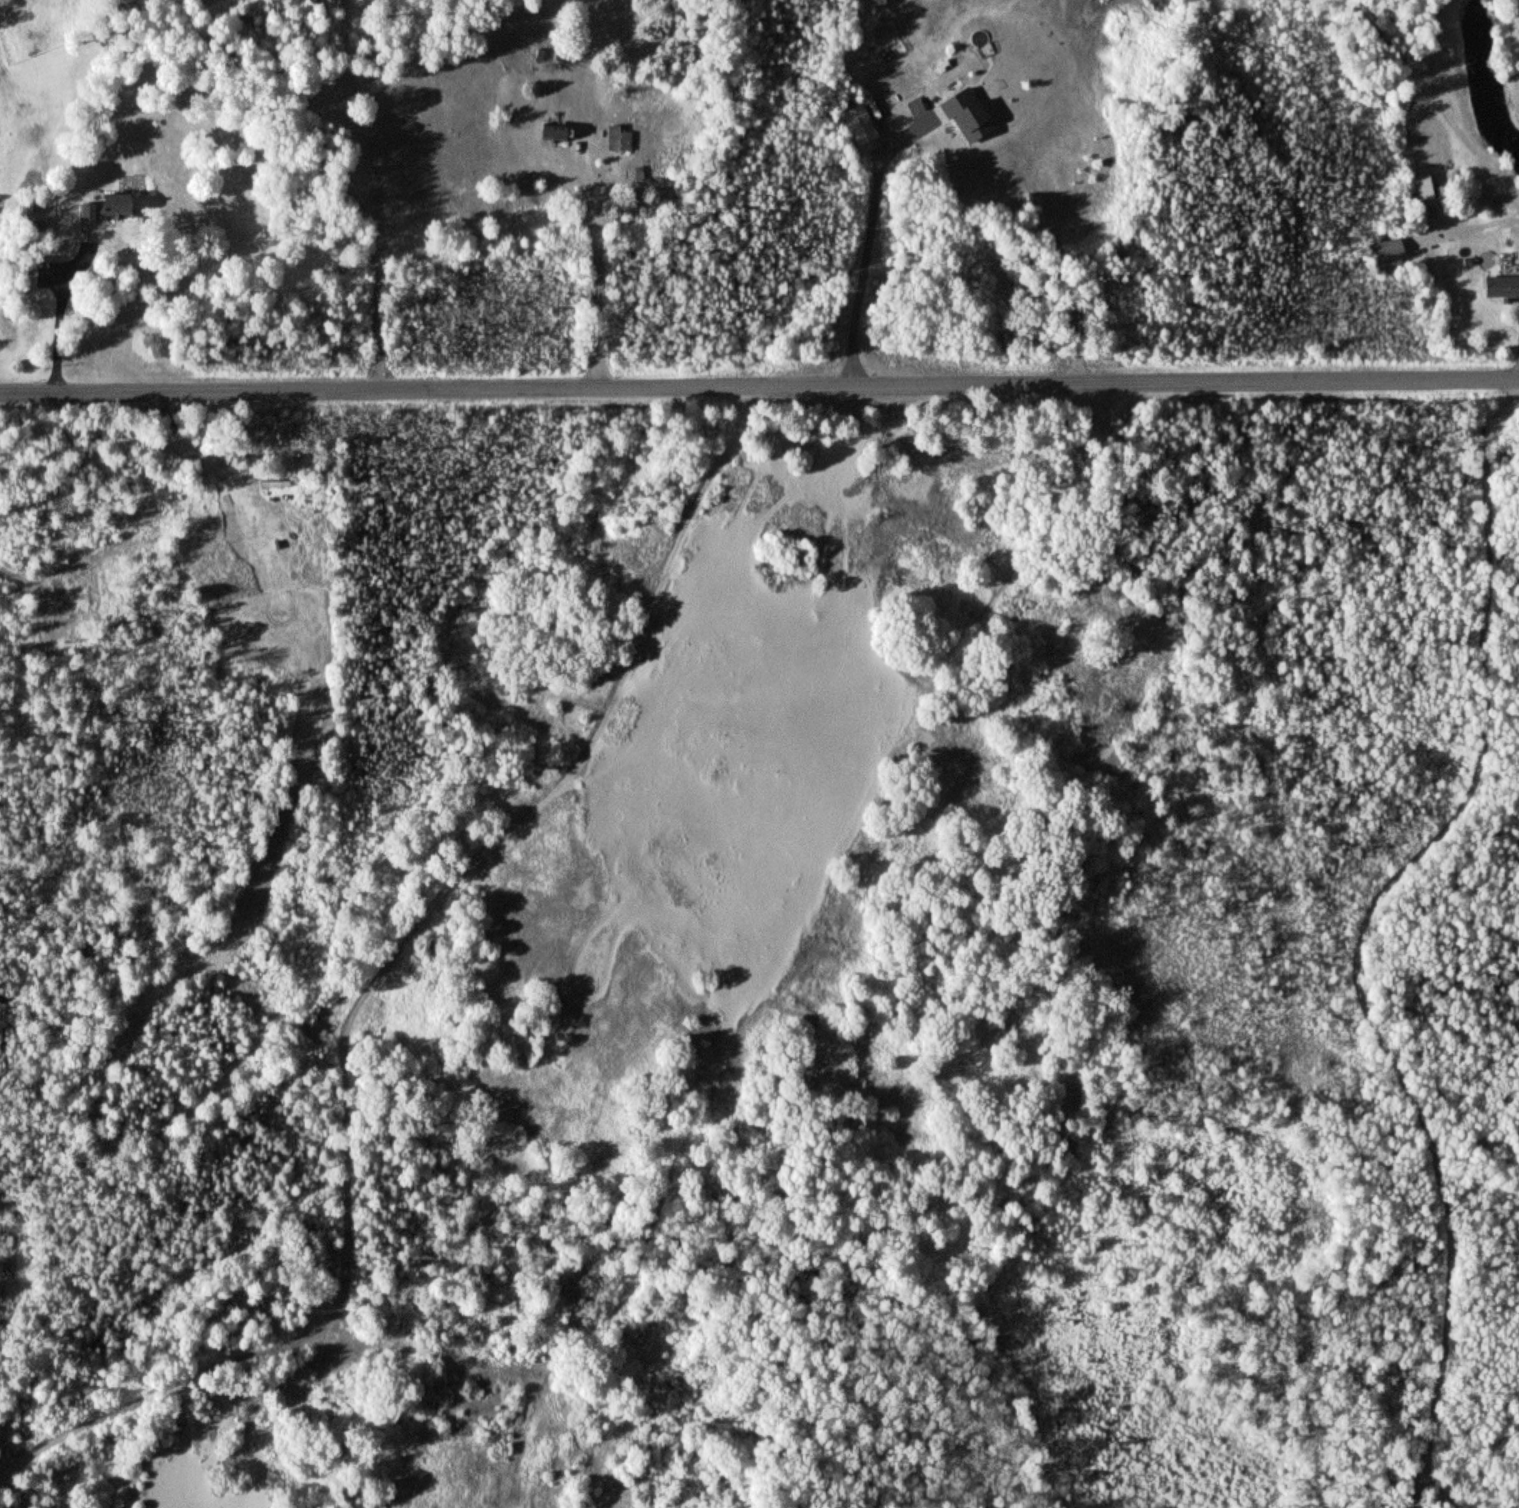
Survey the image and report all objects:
road: (1438, 104)
building: (970, 116)
building: (861, 126)
building: (556, 134)
building: (618, 140)
building: (108, 209)
building: (1388, 253)
building: (1502, 287)
road: (759, 388)

